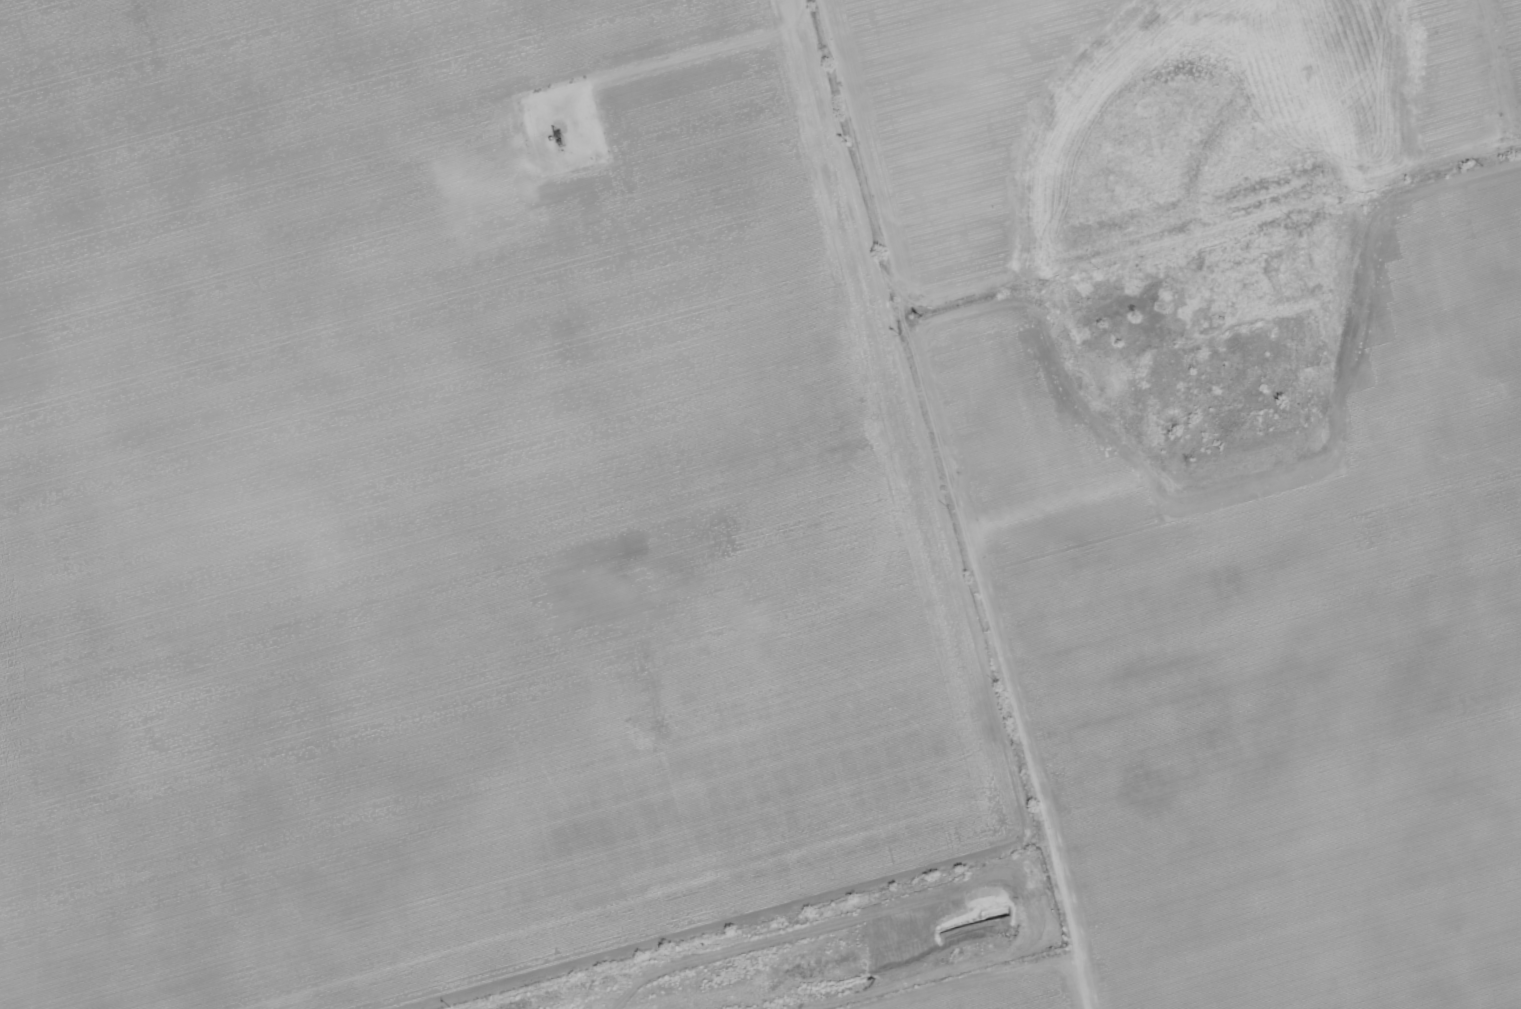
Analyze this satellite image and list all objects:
building: (936, 891)

